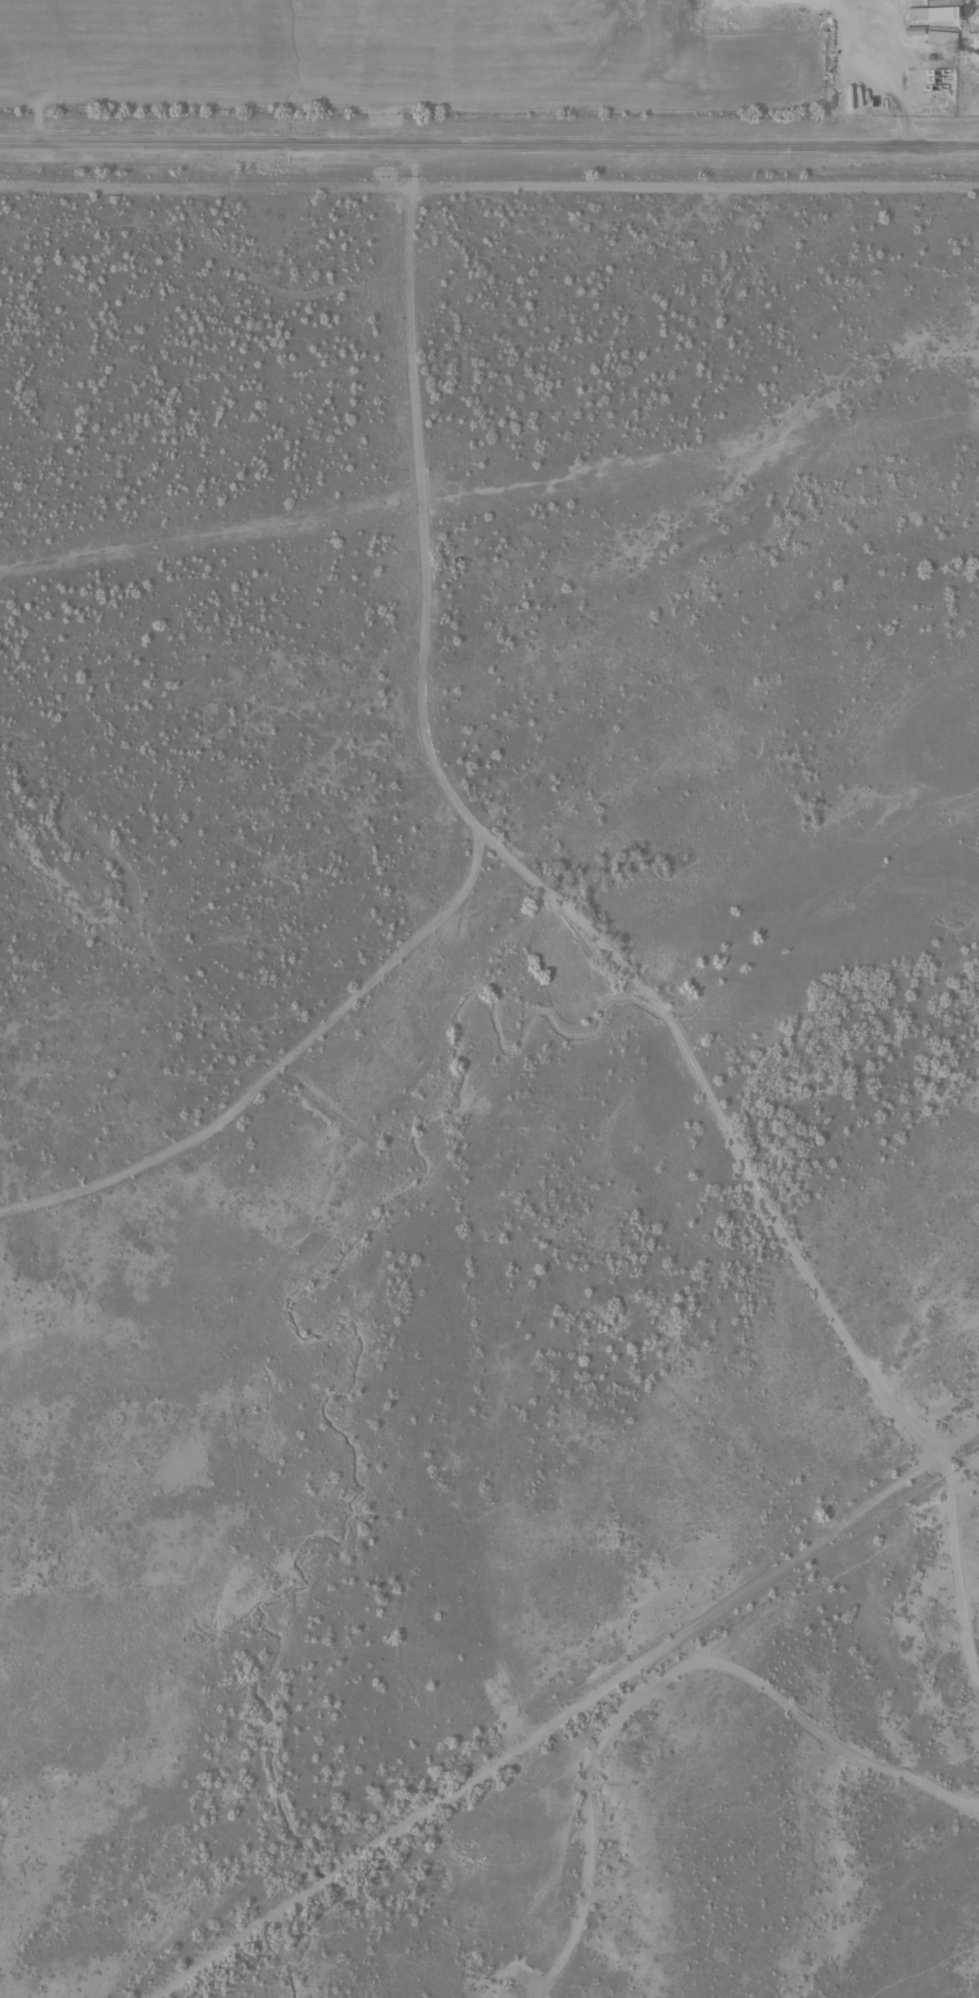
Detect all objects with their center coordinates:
building: (936, 18)
building: (940, 44)
road: (489, 147)
railway: (584, 1727)

